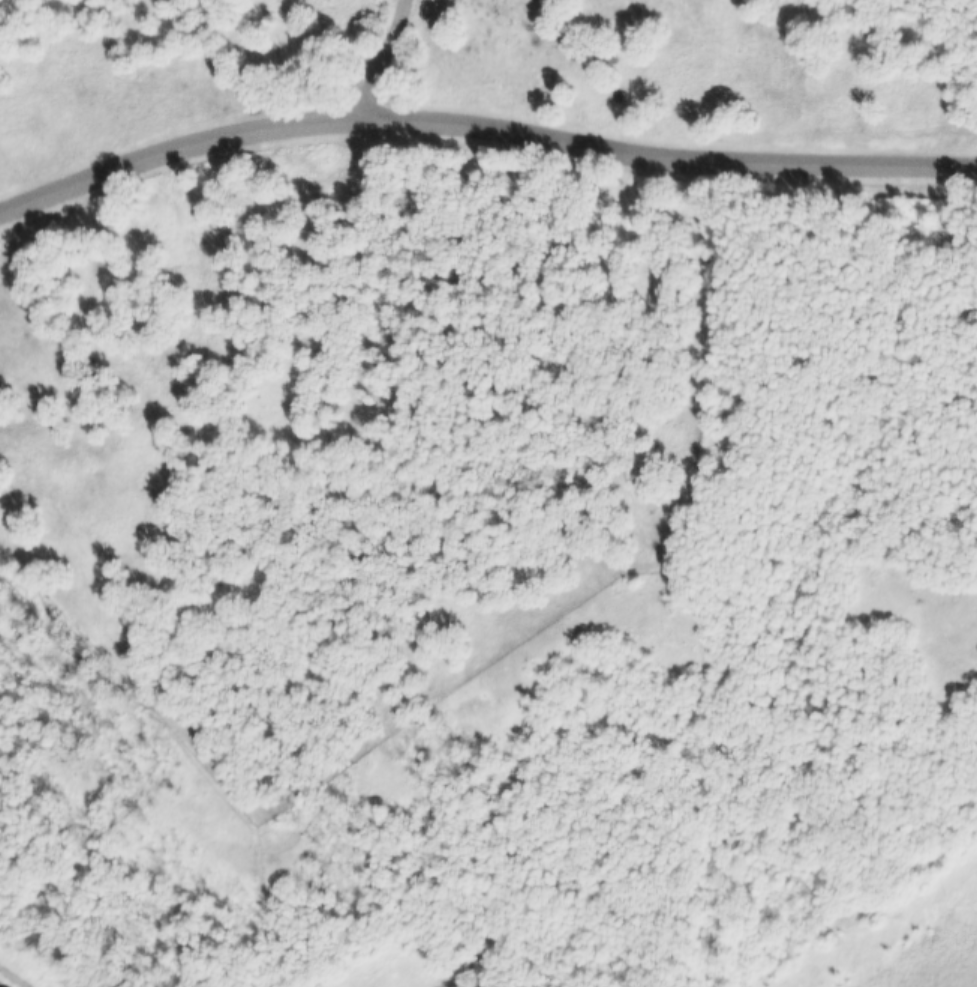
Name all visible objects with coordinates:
road: (384, 56)
road: (483, 120)
road: (10, 980)

